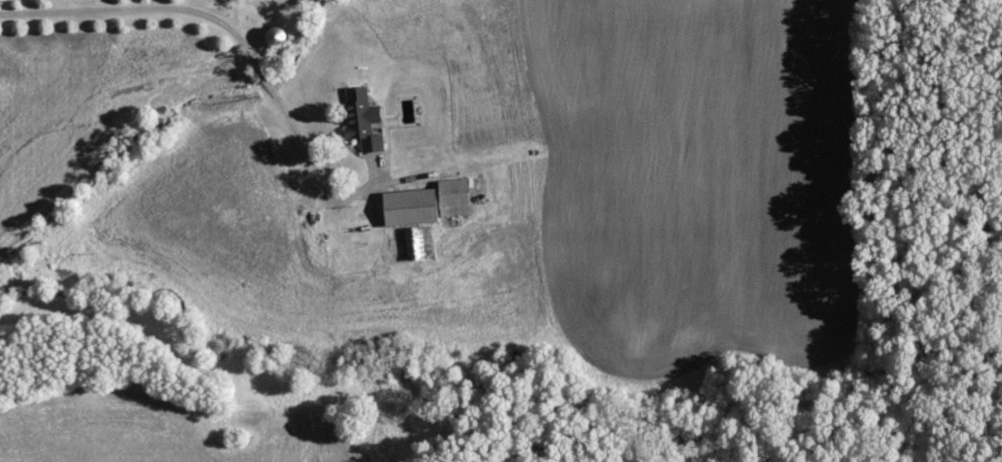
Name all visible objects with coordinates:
building: (364, 120)
building: (431, 204)
building: (418, 243)

